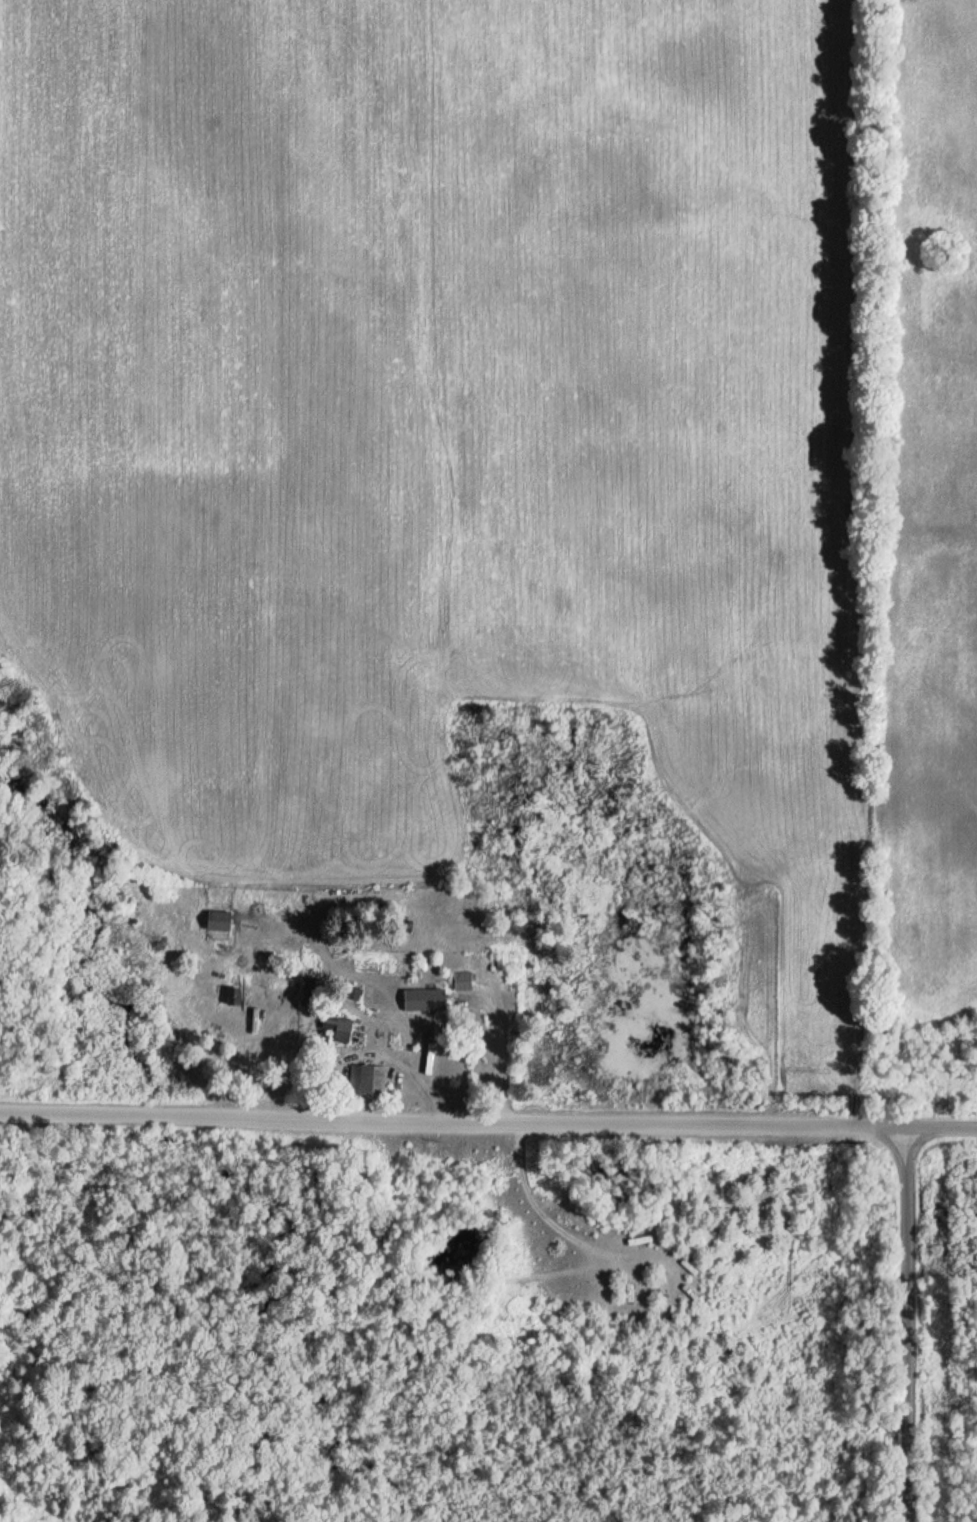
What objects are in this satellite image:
crop: (435, 416)
crop: (934, 497)
building: (223, 922)
building: (428, 1002)
building: (342, 1028)
road: (488, 1117)
road: (900, 1323)

